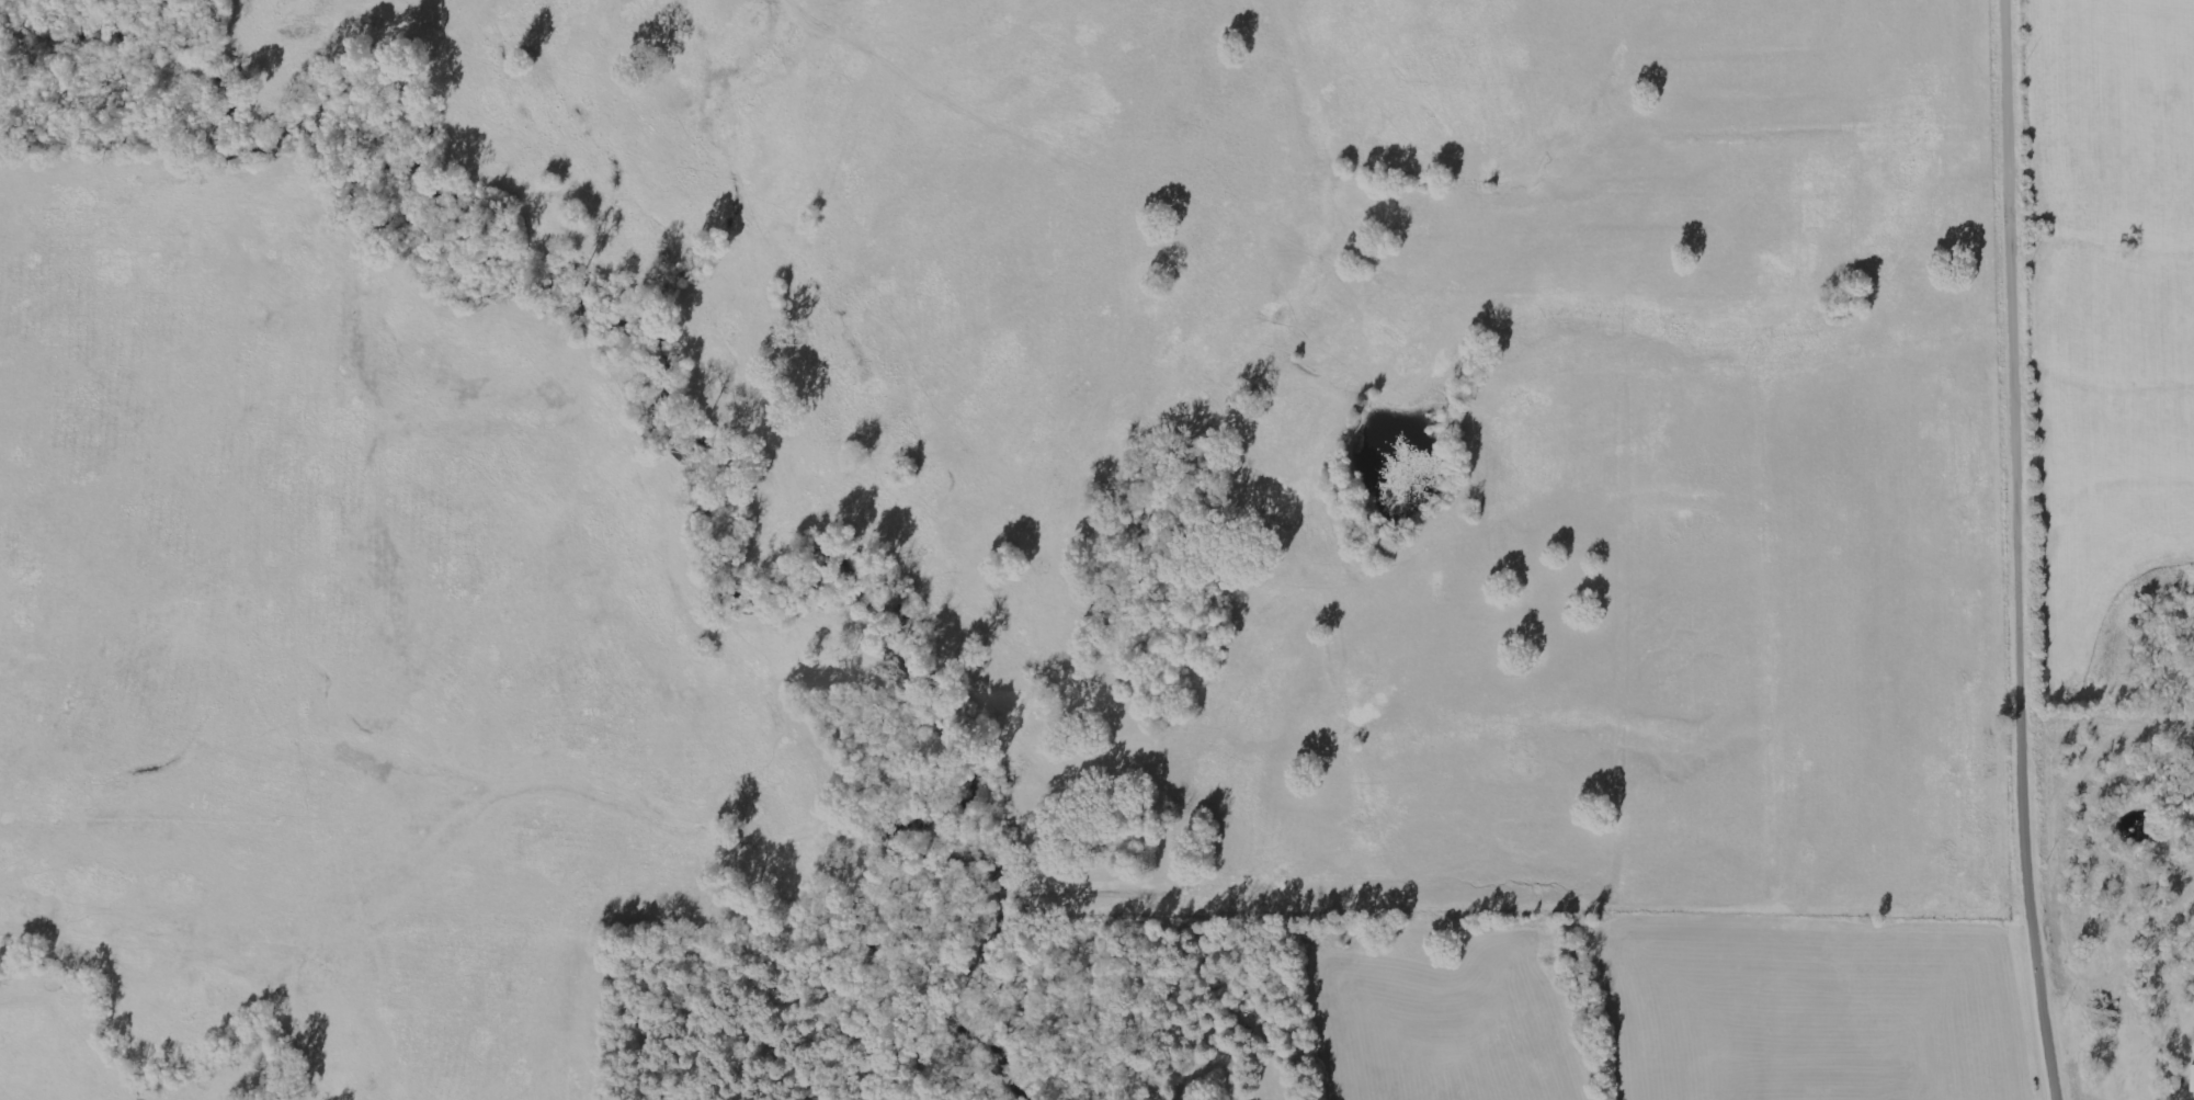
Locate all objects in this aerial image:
road: (2025, 551)

